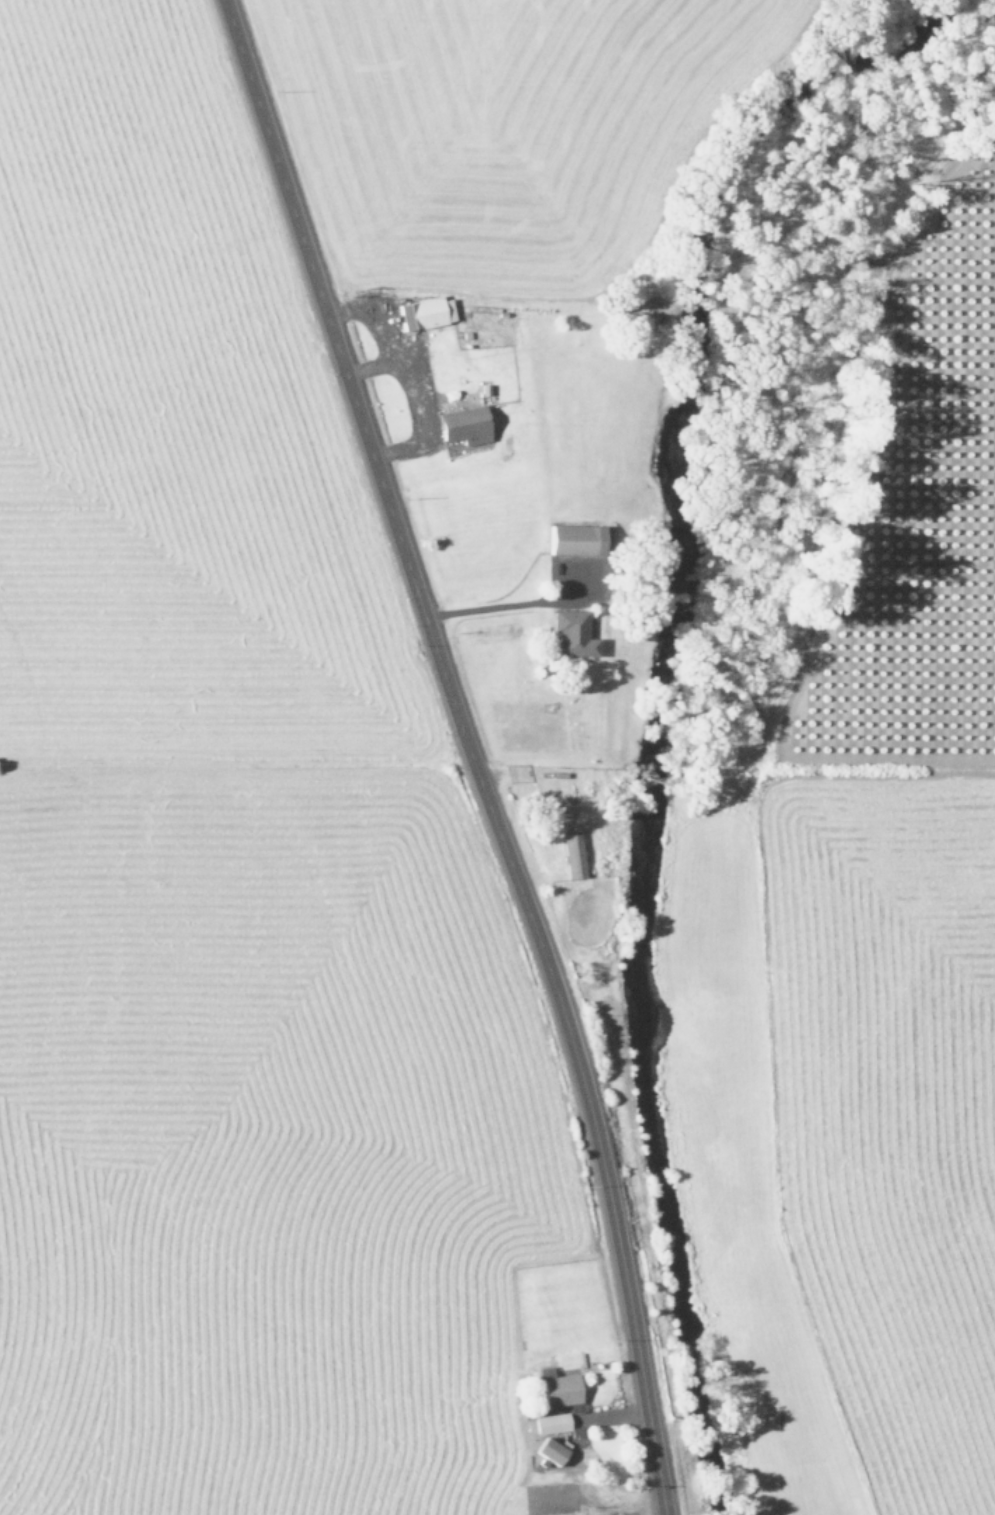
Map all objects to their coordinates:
building: (425, 313)
building: (576, 540)
building: (572, 635)
road: (471, 750)
building: (573, 854)
crop: (896, 861)
crop: (220, 909)
building: (560, 1390)
building: (551, 1423)
building: (550, 1451)

